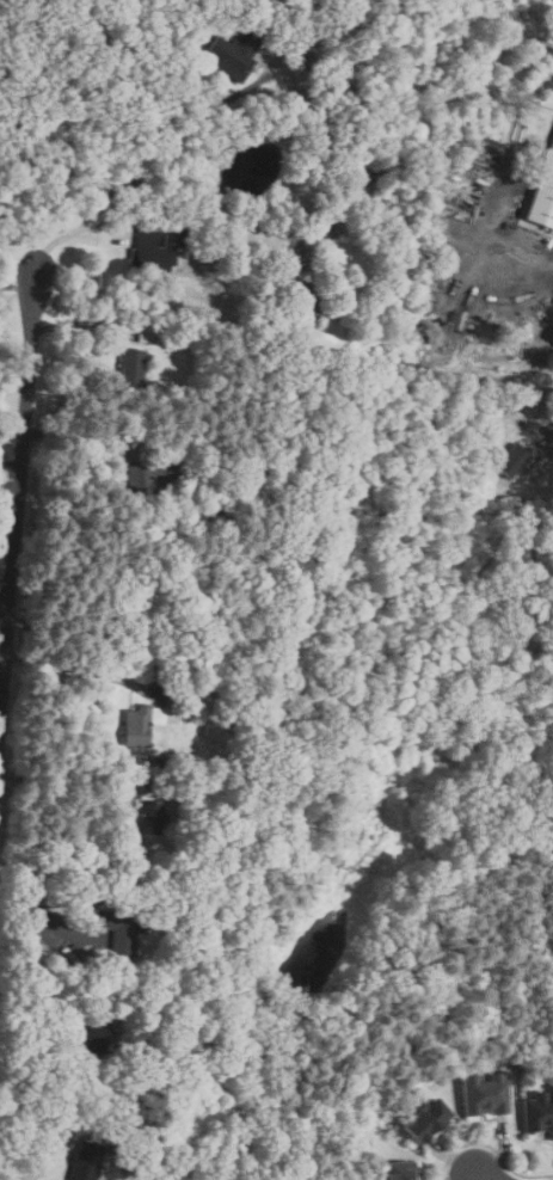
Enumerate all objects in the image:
building: (235, 53)
building: (317, 60)
building: (324, 78)
road: (416, 131)
building: (491, 142)
road: (153, 165)
building: (543, 195)
building: (158, 248)
building: (271, 257)
building: (219, 265)
building: (313, 294)
building: (257, 325)
building: (145, 337)
building: (131, 367)
road: (552, 418)
building: (515, 459)
building: (214, 462)
road: (10, 466)
building: (152, 477)
road: (17, 500)
building: (177, 565)
road: (5, 600)
building: (142, 623)
road: (76, 627)
road: (70, 668)
building: (205, 672)
building: (176, 694)
river: (515, 707)
river: (386, 719)
building: (142, 723)
river: (407, 733)
building: (156, 760)
building: (149, 816)
building: (222, 819)
river: (350, 877)
building: (179, 891)
road: (48, 916)
building: (122, 929)
building: (51, 933)
building: (127, 1003)
building: (88, 1031)
building: (481, 1092)
building: (536, 1112)
building: (422, 1120)
building: (117, 1150)
building: (87, 1160)
building: (398, 1169)
road: (467, 1175)
road: (480, 1175)

